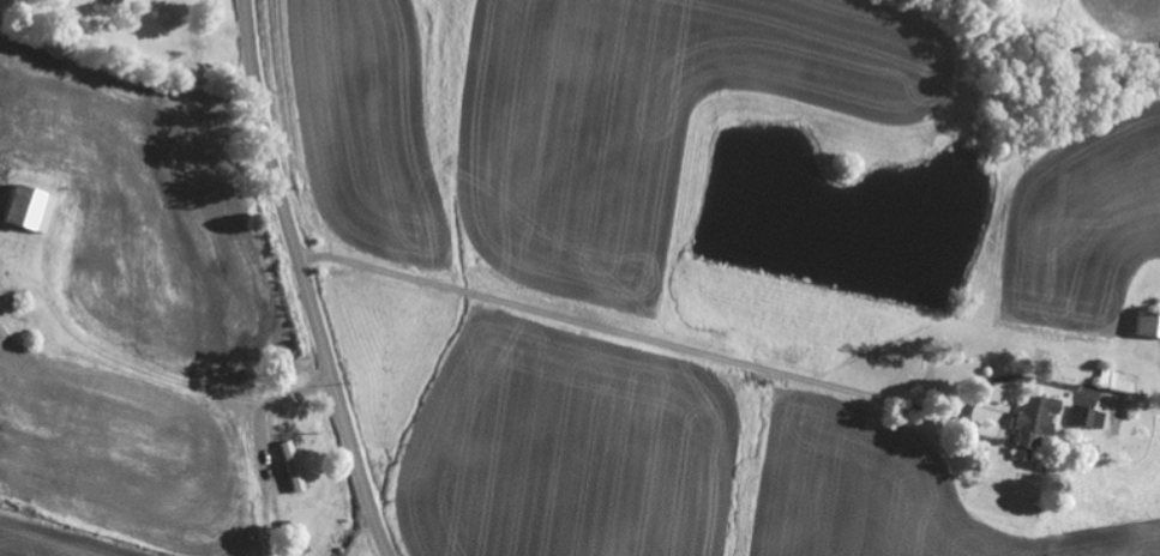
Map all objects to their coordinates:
building: (24, 210)
road: (302, 280)
road: (144, 301)
building: (1147, 325)
building: (1118, 383)
building: (1086, 418)
building: (1033, 424)

